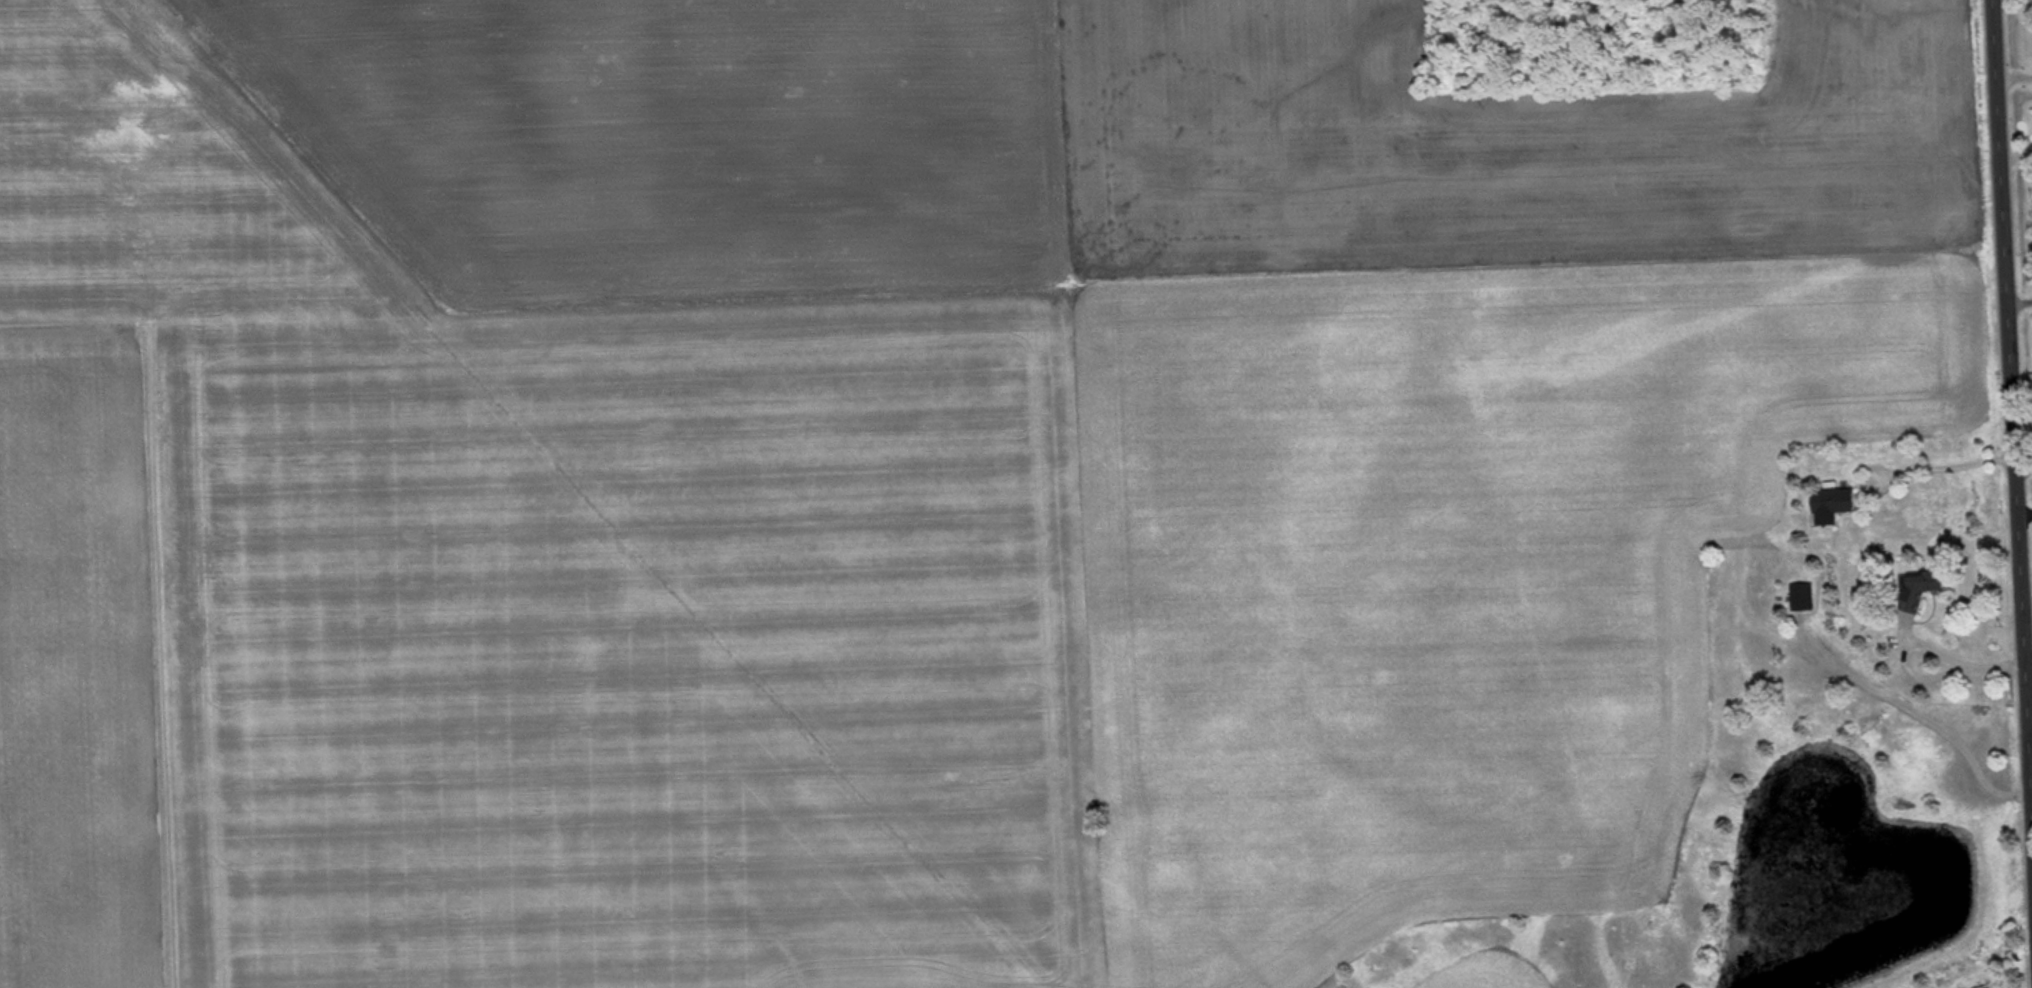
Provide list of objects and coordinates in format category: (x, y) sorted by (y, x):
road: (2014, 222)
road: (2007, 366)
building: (1836, 502)
building: (1925, 588)
road: (1957, 661)

